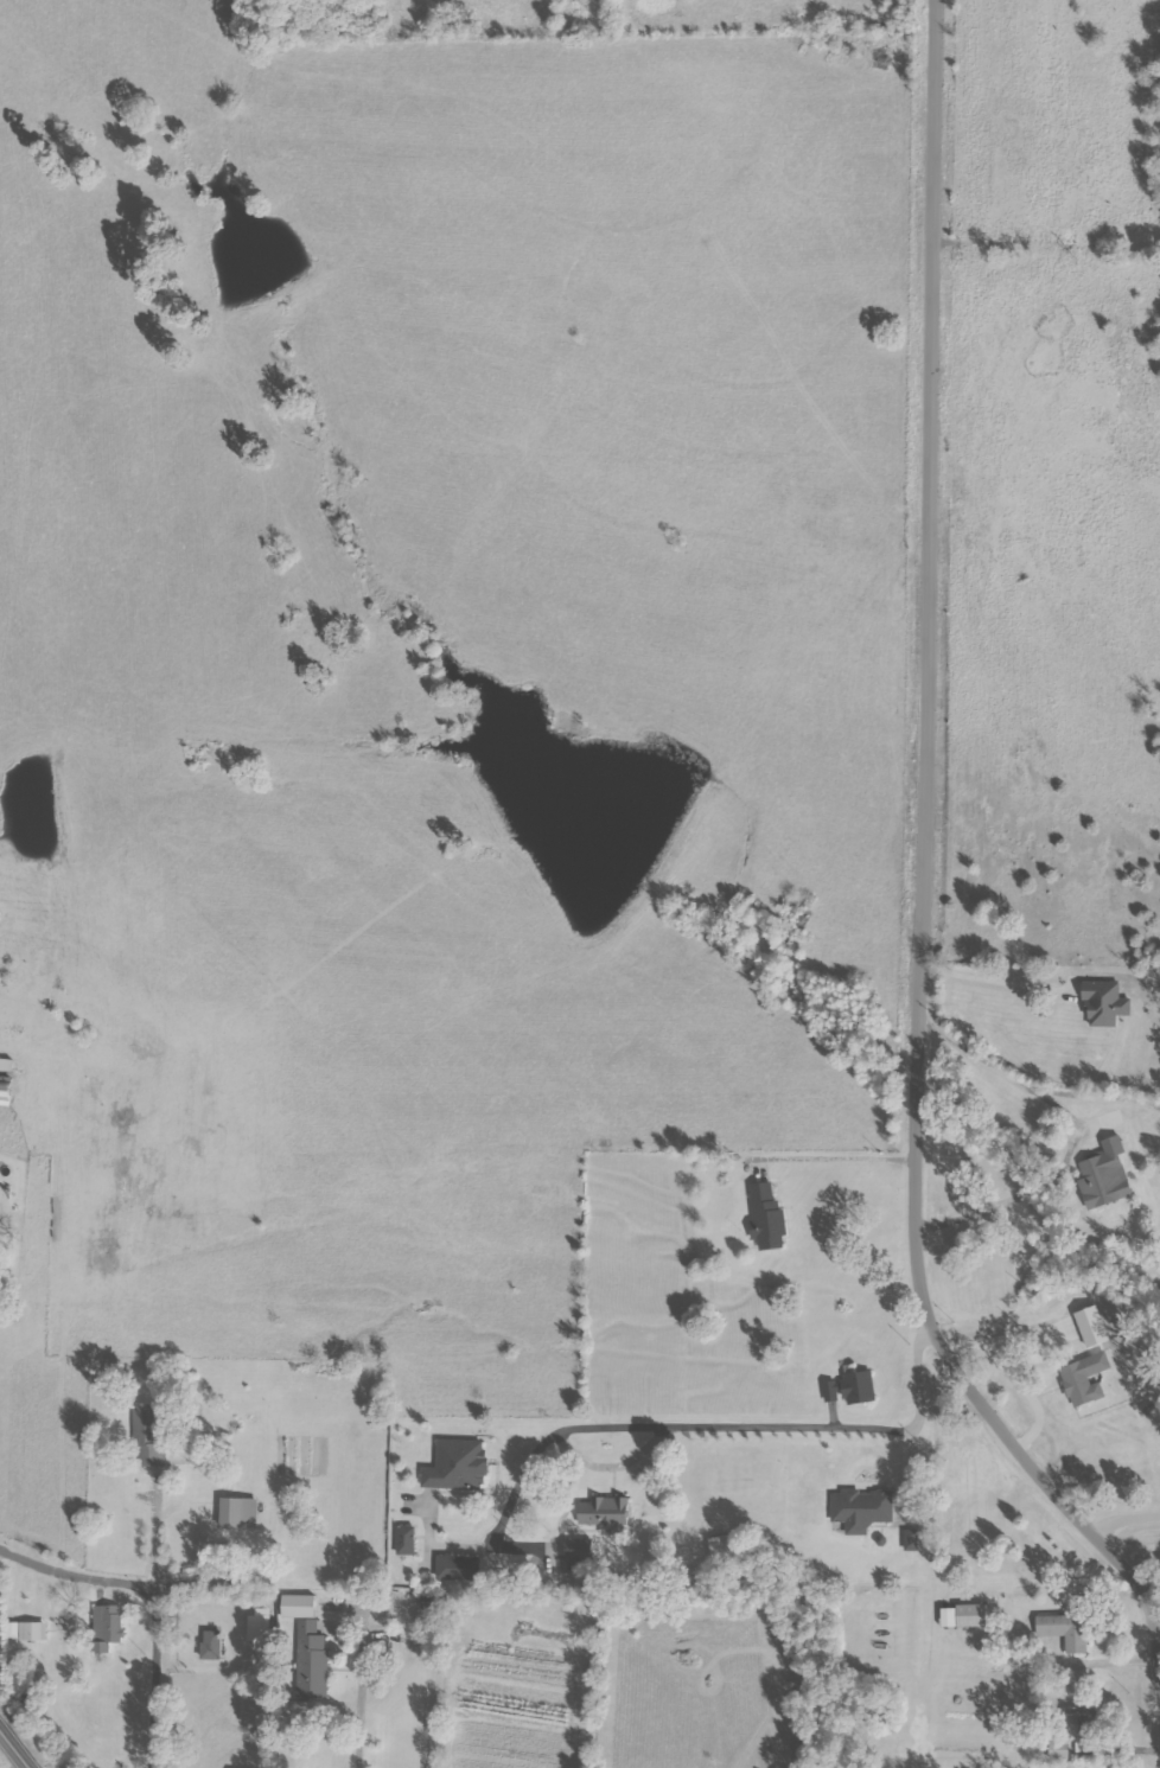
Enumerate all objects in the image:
road: (936, 848)
road: (1011, 987)
building: (1113, 1007)
building: (6, 1064)
building: (4, 1090)
road: (834, 1164)
building: (1104, 1175)
building: (777, 1224)
building: (1084, 1379)
building: (850, 1389)
road: (567, 1435)
building: (147, 1437)
building: (457, 1466)
building: (603, 1512)
building: (237, 1513)
building: (872, 1517)
road: (1128, 1521)
building: (911, 1540)
building: (406, 1542)
building: (578, 1549)
building: (458, 1568)
road: (101, 1578)
building: (297, 1607)
building: (970, 1615)
building: (947, 1617)
building: (257, 1626)
building: (108, 1627)
building: (27, 1630)
building: (1064, 1630)
building: (1, 1633)
building: (211, 1645)
building: (311, 1660)
road: (153, 1708)
building: (1078, 1724)
building: (1058, 1750)
road: (11, 1753)

